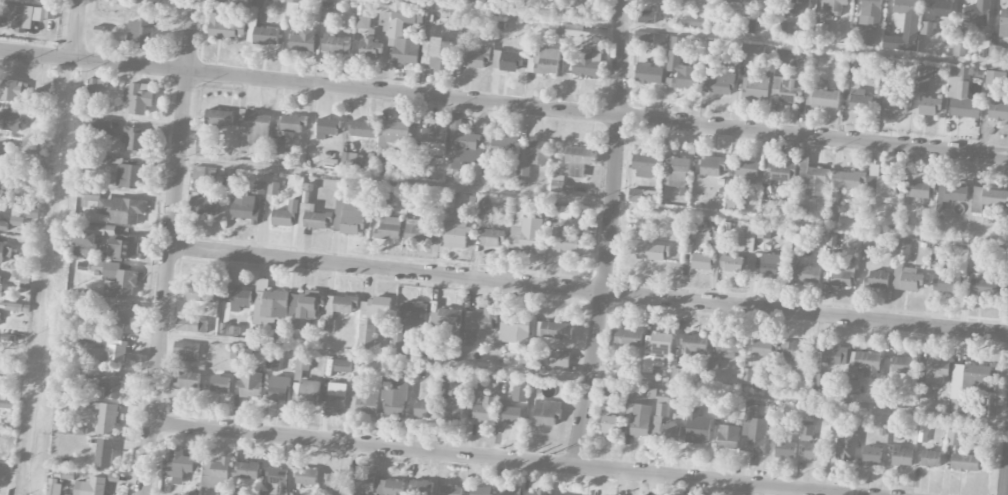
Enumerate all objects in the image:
building: (730, 0)
building: (777, 0)
building: (809, 0)
building: (231, 2)
building: (146, 4)
building: (833, 6)
building: (292, 8)
building: (576, 9)
building: (940, 9)
building: (870, 12)
building: (977, 13)
building: (26, 15)
building: (646, 16)
building: (695, 21)
building: (362, 22)
building: (715, 23)
building: (1004, 23)
building: (224, 25)
building: (749, 26)
building: (262, 27)
building: (905, 27)
building: (786, 28)
building: (927, 28)
road: (77, 29)
building: (821, 30)
building: (396, 31)
building: (862, 35)
building: (644, 36)
building: (304, 40)
building: (333, 44)
building: (369, 48)
building: (959, 50)
building: (426, 51)
building: (994, 51)
building: (752, 52)
building: (442, 53)
building: (784, 57)
building: (477, 59)
building: (507, 61)
building: (544, 61)
building: (586, 65)
building: (680, 65)
building: (649, 73)
building: (959, 73)
building: (920, 80)
building: (995, 80)
building: (718, 83)
building: (98, 85)
building: (756, 86)
building: (788, 88)
building: (14, 89)
building: (821, 94)
building: (138, 97)
building: (892, 100)
building: (859, 101)
building: (964, 102)
road: (503, 104)
building: (929, 106)
building: (998, 111)
building: (219, 117)
building: (10, 121)
building: (455, 121)
building: (293, 123)
building: (98, 126)
building: (257, 127)
building: (327, 127)
building: (363, 128)
building: (391, 136)
building: (134, 140)
building: (433, 140)
building: (502, 145)
building: (277, 146)
building: (204, 147)
building: (312, 149)
building: (537, 152)
building: (4, 155)
building: (578, 160)
building: (348, 161)
building: (646, 165)
building: (712, 166)
building: (523, 171)
building: (675, 171)
building: (747, 172)
building: (779, 172)
building: (129, 176)
building: (202, 178)
building: (848, 179)
building: (816, 181)
building: (557, 183)
building: (884, 186)
building: (5, 187)
building: (259, 187)
building: (273, 188)
building: (919, 189)
building: (951, 194)
building: (643, 196)
building: (88, 198)
building: (989, 198)
building: (733, 199)
building: (204, 205)
building: (484, 205)
building: (244, 206)
building: (121, 209)
building: (560, 211)
building: (0, 212)
building: (286, 214)
building: (347, 214)
building: (313, 217)
building: (16, 221)
building: (903, 222)
building: (4, 225)
building: (389, 228)
building: (419, 230)
building: (763, 231)
building: (525, 232)
road: (609, 234)
building: (456, 235)
building: (492, 238)
building: (86, 241)
building: (567, 241)
building: (903, 246)
road: (167, 247)
building: (868, 247)
building: (123, 248)
building: (2, 252)
building: (653, 252)
building: (935, 254)
building: (703, 261)
building: (733, 263)
building: (772, 264)
building: (809, 274)
building: (842, 274)
building: (118, 279)
building: (877, 279)
building: (906, 279)
building: (945, 283)
building: (984, 287)
building: (0, 290)
road: (587, 290)
building: (201, 293)
building: (239, 298)
building: (269, 304)
building: (338, 306)
building: (303, 307)
building: (413, 314)
building: (121, 316)
building: (483, 318)
building: (372, 319)
building: (449, 323)
building: (190, 324)
building: (556, 330)
building: (515, 332)
building: (625, 337)
building: (398, 339)
building: (470, 339)
building: (694, 343)
building: (661, 346)
building: (764, 348)
building: (726, 349)
building: (116, 351)
building: (186, 351)
building: (798, 351)
building: (245, 355)
building: (834, 355)
building: (558, 360)
building: (272, 364)
building: (712, 364)
building: (903, 364)
building: (618, 367)
building: (862, 368)
building: (936, 370)
building: (88, 372)
building: (675, 374)
building: (747, 376)
building: (187, 380)
building: (820, 382)
building: (305, 383)
building: (220, 384)
building: (251, 384)
building: (111, 386)
building: (280, 388)
building: (923, 392)
building: (519, 393)
building: (336, 397)
building: (367, 400)
building: (394, 401)
building: (8, 403)
building: (425, 408)
building: (453, 410)
building: (485, 410)
building: (546, 412)
building: (722, 412)
building: (511, 414)
building: (107, 419)
building: (637, 420)
building: (657, 420)
building: (611, 424)
building: (697, 426)
building: (806, 431)
building: (922, 433)
building: (752, 436)
building: (728, 437)
building: (954, 437)
building: (845, 448)
building: (785, 449)
building: (813, 451)
building: (104, 453)
building: (872, 455)
building: (902, 456)
road: (494, 458)
building: (930, 459)
building: (965, 462)
building: (182, 464)
building: (246, 470)
building: (216, 473)
building: (306, 476)
building: (277, 481)
building: (336, 483)
building: (364, 483)
building: (55, 487)
building: (90, 487)
building: (389, 487)
building: (421, 487)
building: (451, 490)
building: (482, 490)
building: (511, 490)

